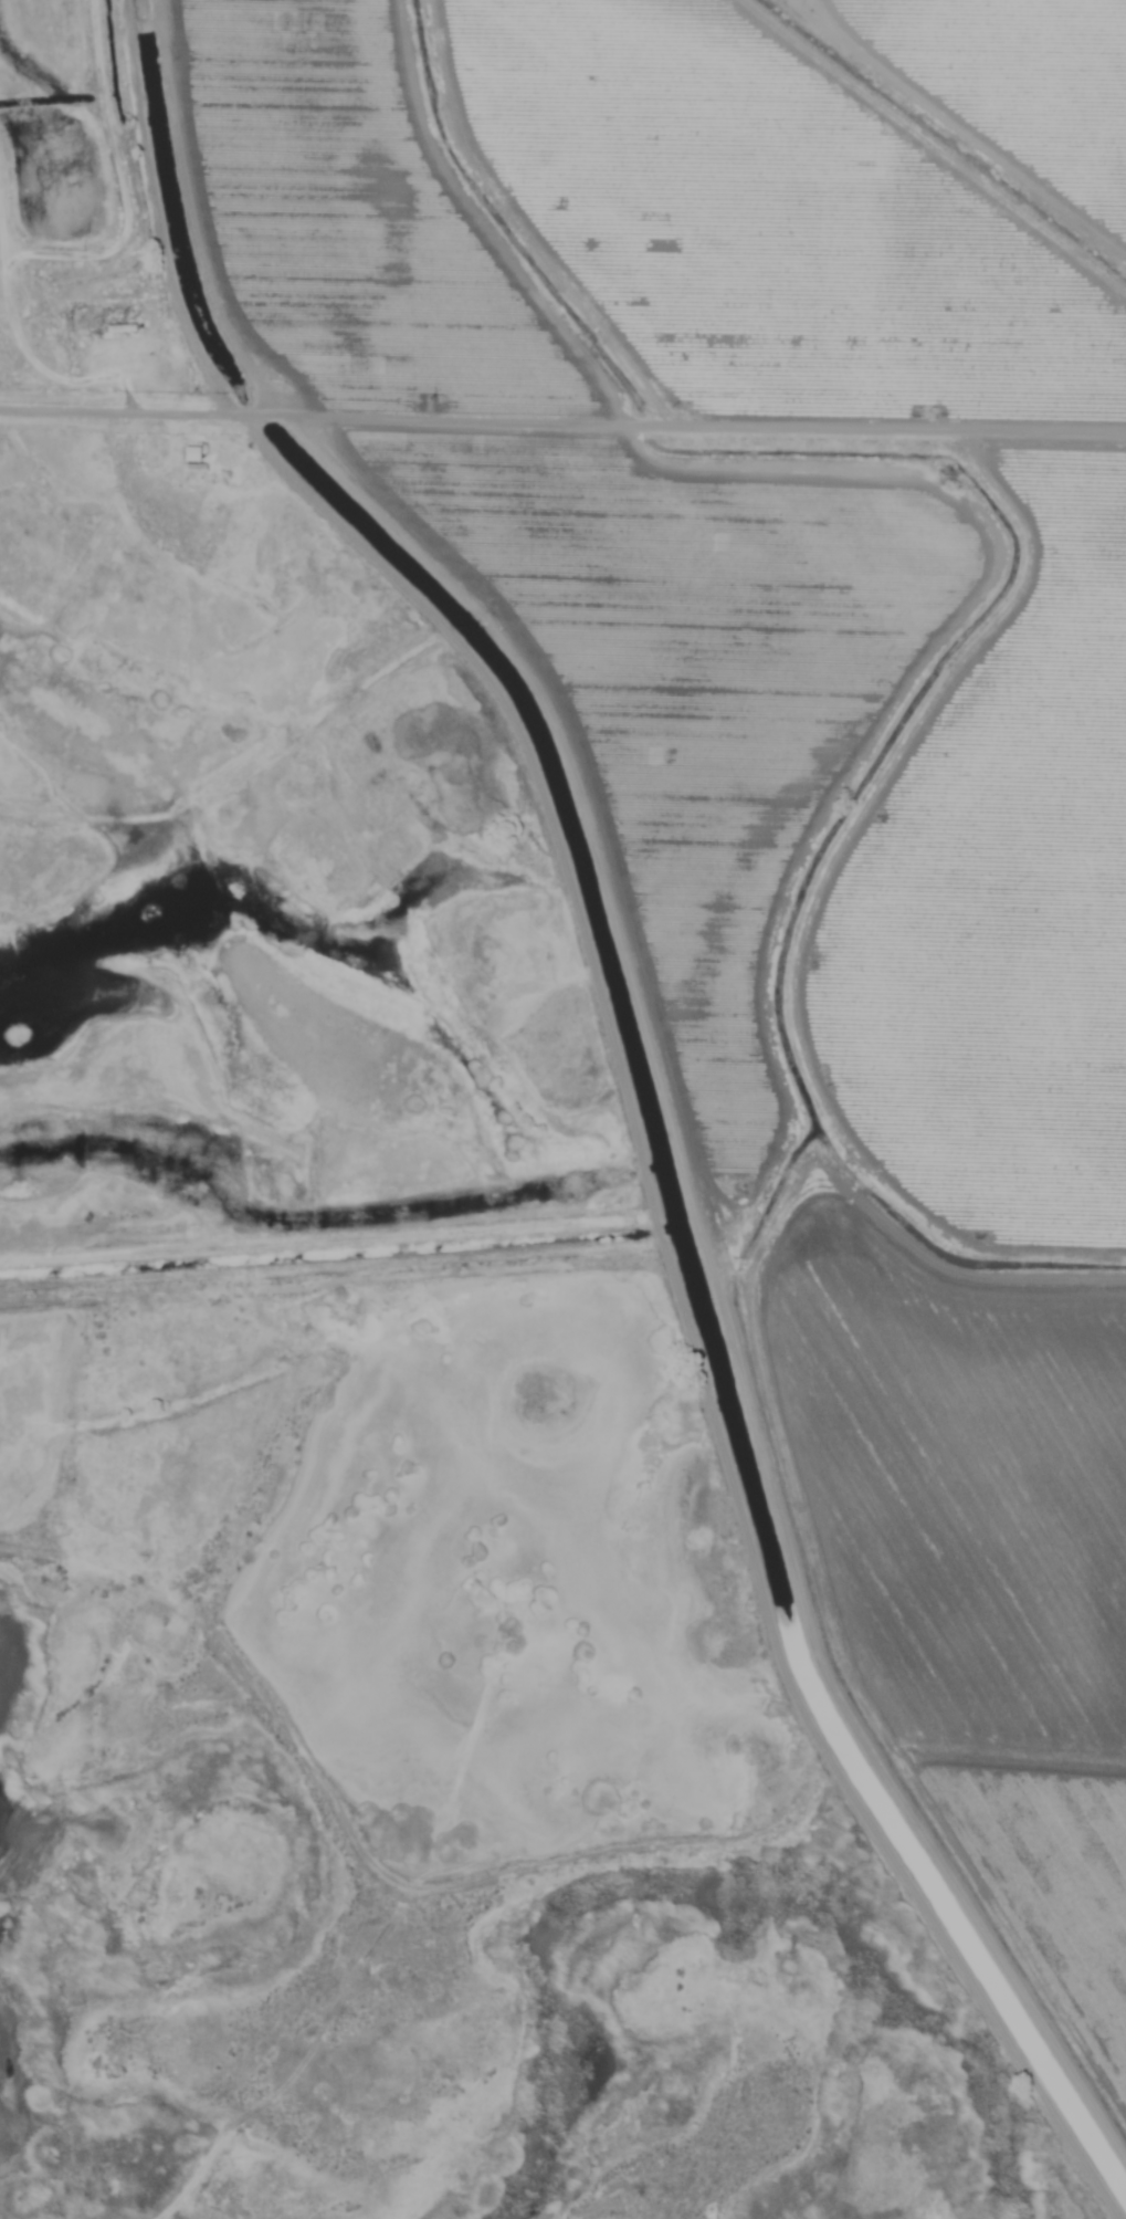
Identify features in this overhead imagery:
road: (959, 139)
building: (119, 328)
road: (562, 423)
crop: (807, 731)

